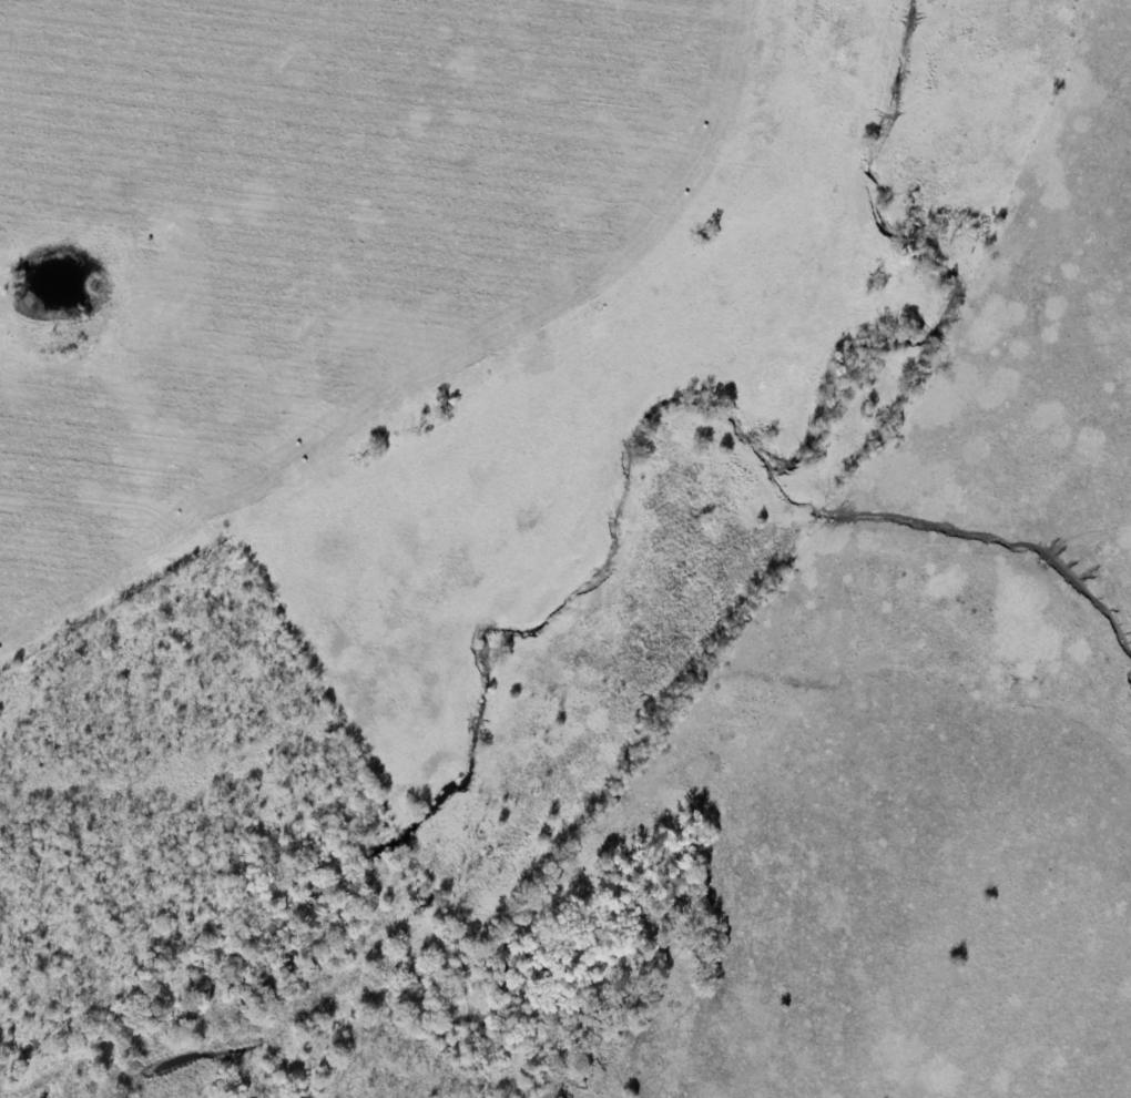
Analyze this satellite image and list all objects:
road: (17, 360)

